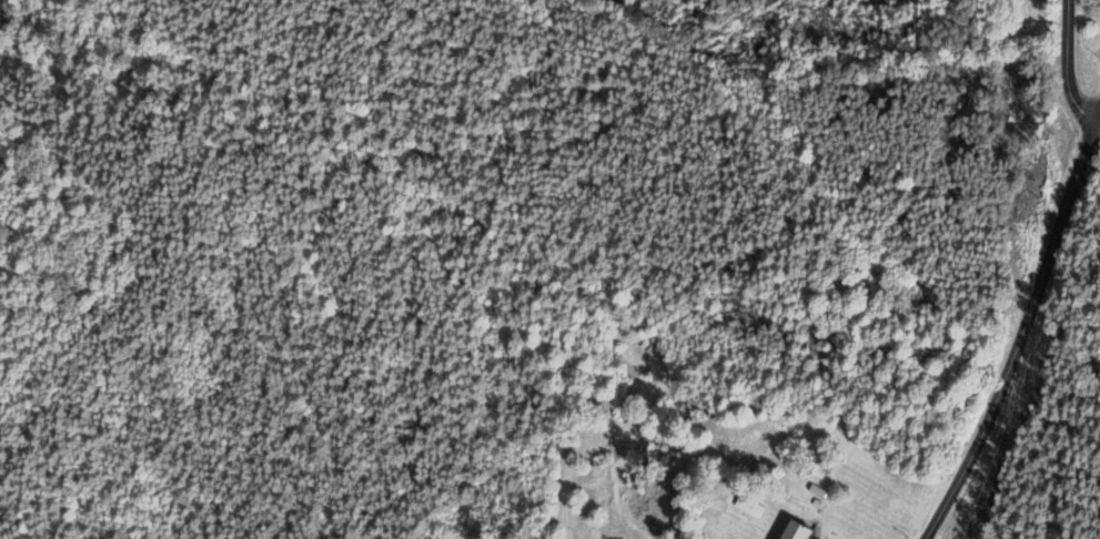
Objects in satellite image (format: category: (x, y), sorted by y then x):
road: (1062, 67)
road: (1088, 164)
road: (1019, 327)
building: (750, 508)
building: (800, 531)

